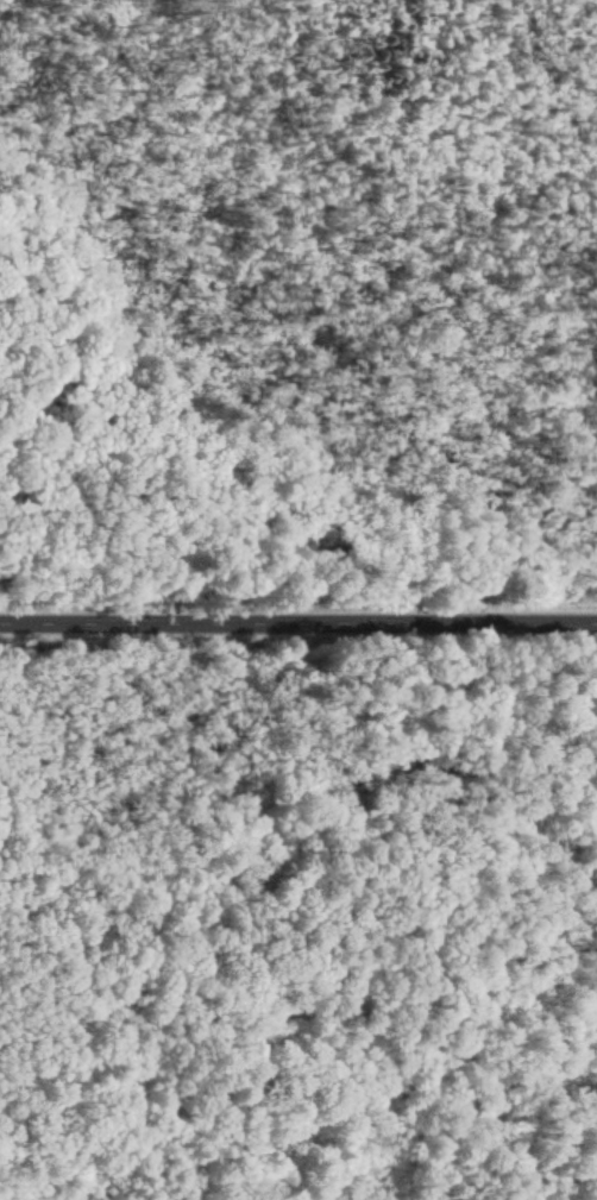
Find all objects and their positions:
road: (298, 620)

